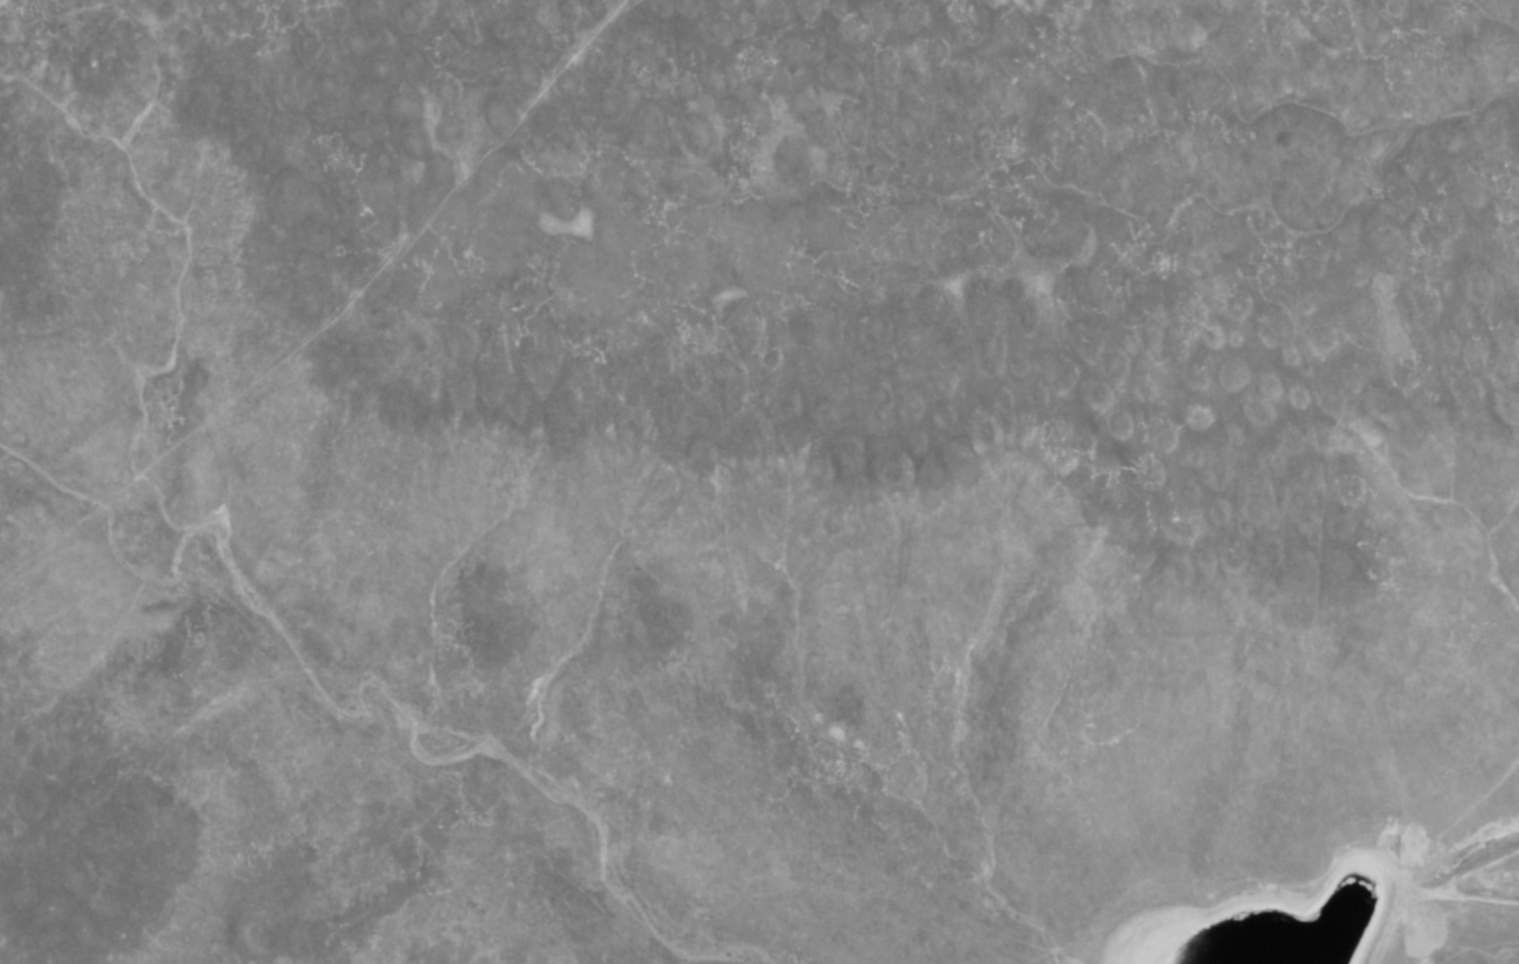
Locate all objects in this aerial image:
road: (5, 2)
dam: (1377, 933)

